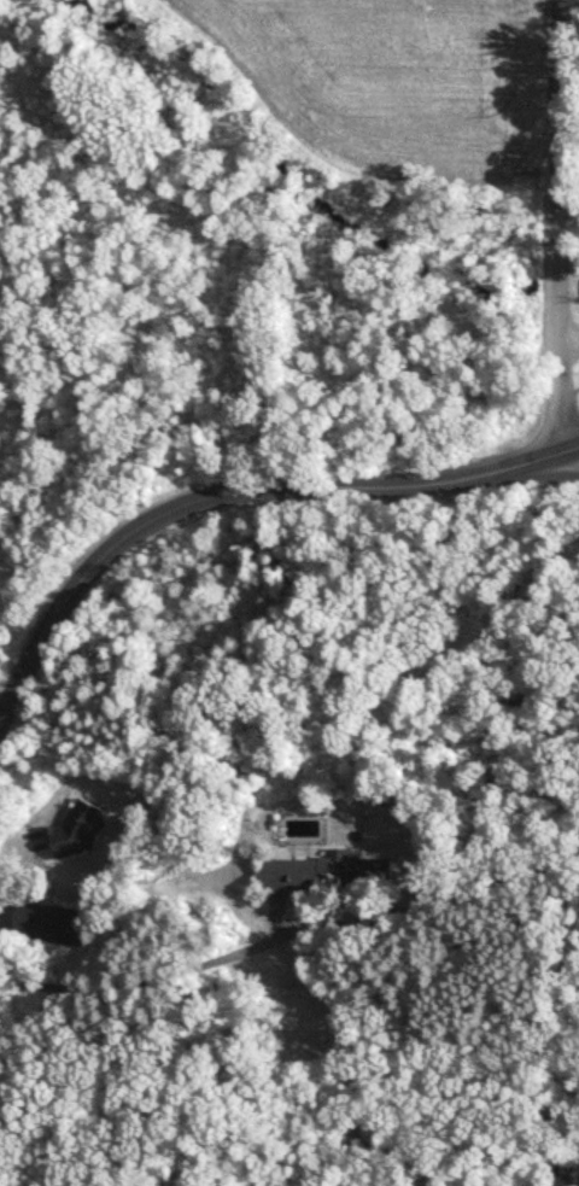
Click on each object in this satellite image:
road: (568, 66)
road: (557, 129)
road: (557, 286)
road: (557, 386)
road: (568, 456)
road: (568, 462)
road: (226, 492)
building: (80, 831)
road: (18, 855)
building: (339, 860)
building: (289, 875)
building: (52, 924)
road: (148, 977)

